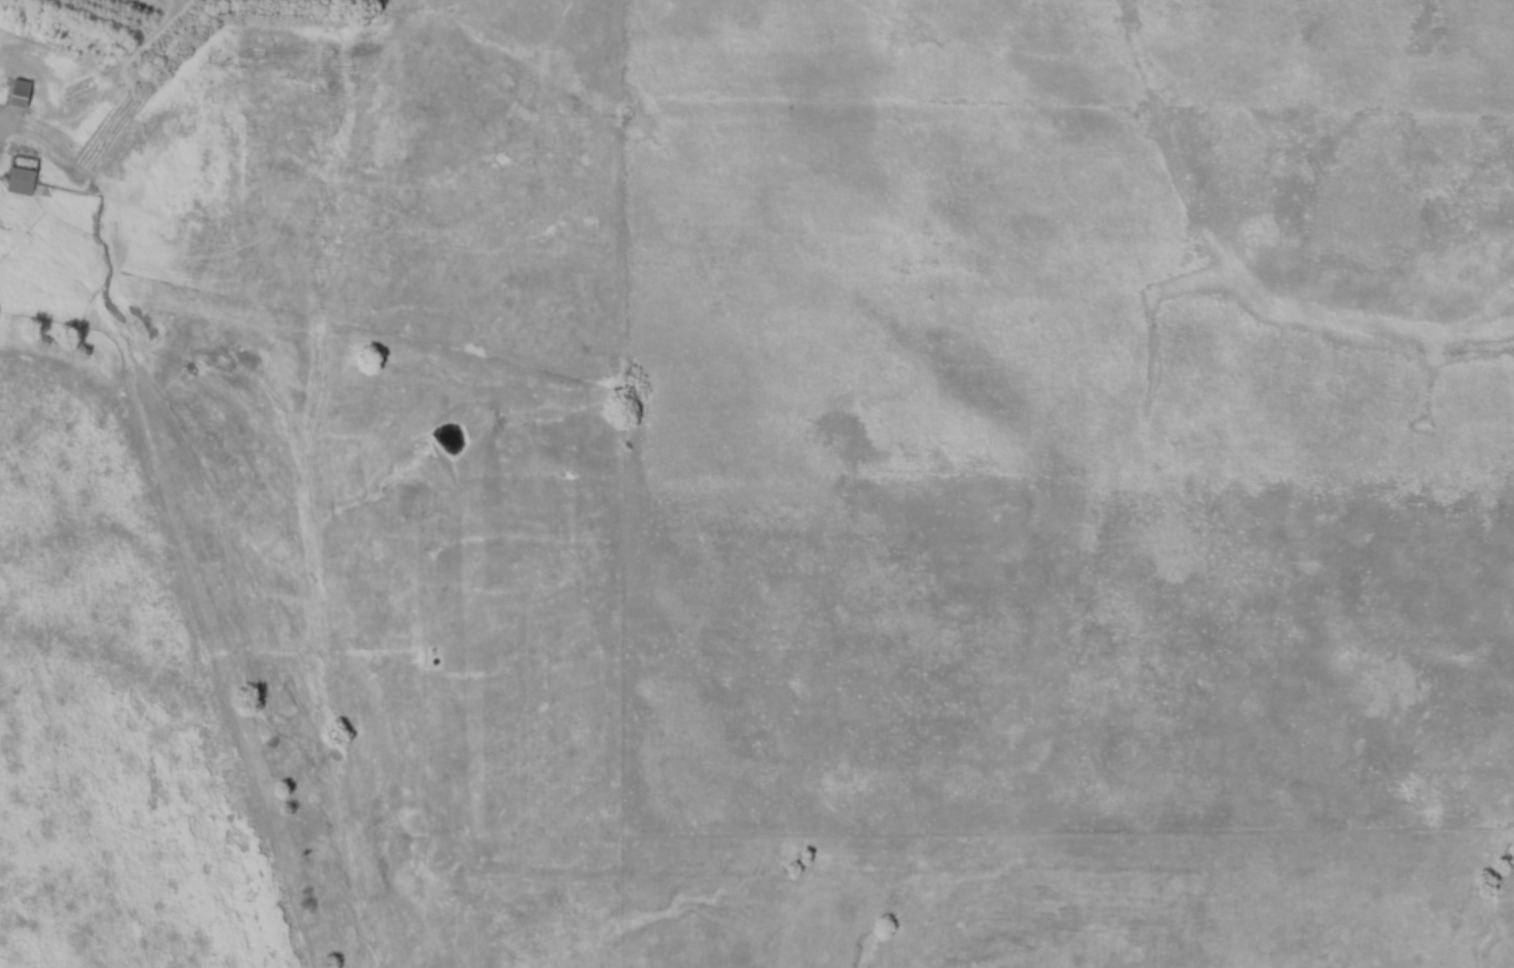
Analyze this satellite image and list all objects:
building: (22, 92)
building: (26, 168)

